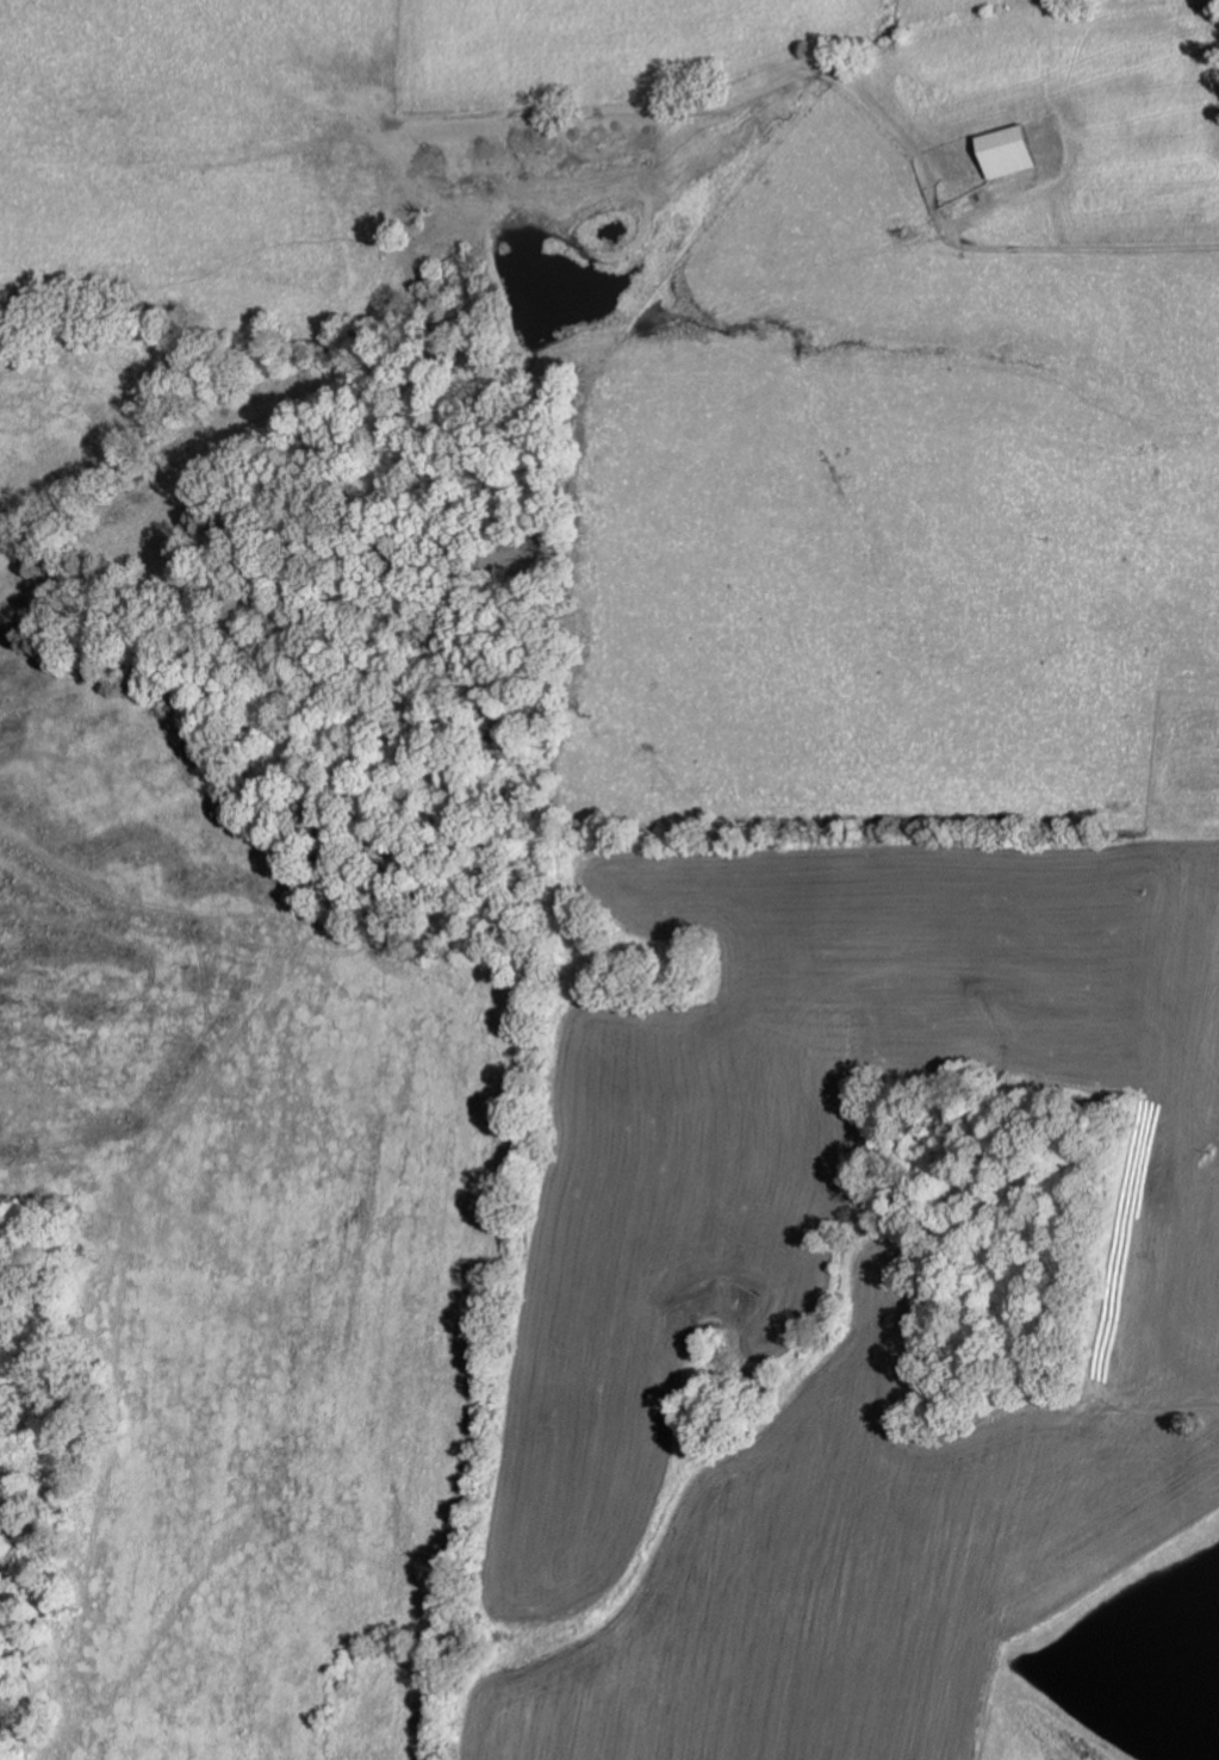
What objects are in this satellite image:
road: (634, 148)
building: (1013, 151)

